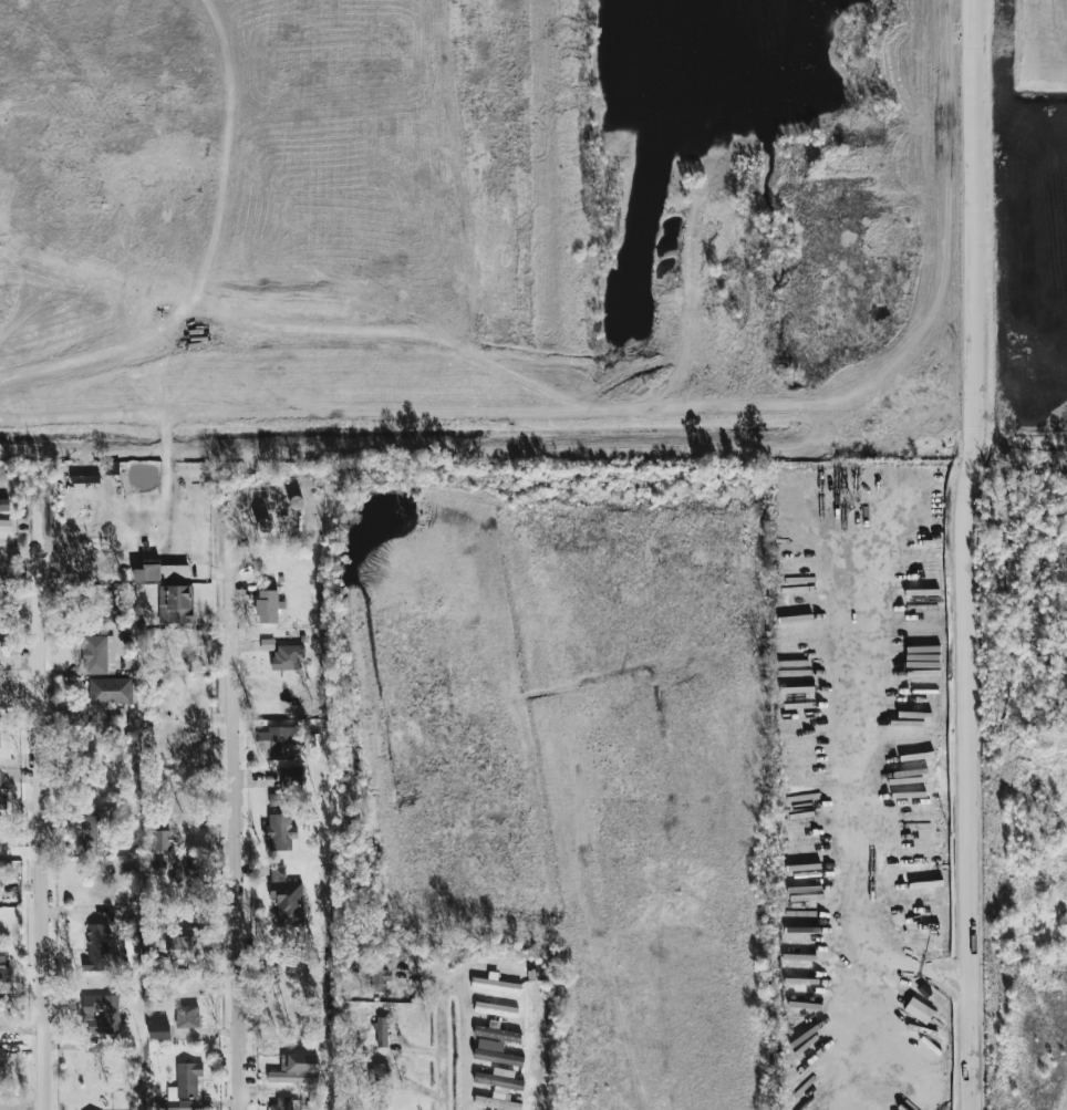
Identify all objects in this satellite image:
landfill: (457, 225)
road: (962, 230)
building: (3, 505)
building: (147, 571)
building: (169, 571)
building: (175, 604)
building: (267, 606)
building: (97, 655)
building: (287, 656)
building: (110, 691)
building: (116, 714)
building: (281, 741)
building: (290, 772)
building: (0, 776)
road: (856, 776)
road: (963, 785)
building: (277, 800)
road: (40, 802)
road: (230, 811)
building: (279, 831)
building: (93, 832)
building: (160, 840)
building: (284, 899)
building: (96, 948)
building: (178, 952)
building: (3, 967)
building: (377, 975)
building: (495, 984)
road: (942, 984)
road: (831, 1008)
building: (495, 1009)
building: (918, 1010)
building: (100, 1013)
building: (186, 1017)
building: (158, 1031)
building: (381, 1033)
road: (439, 1033)
building: (495, 1033)
road: (464, 1037)
building: (0, 1057)
building: (497, 1057)
building: (294, 1069)
building: (377, 1071)
building: (498, 1079)
building: (184, 1087)
building: (885, 1098)
building: (496, 1102)
building: (281, 1103)

